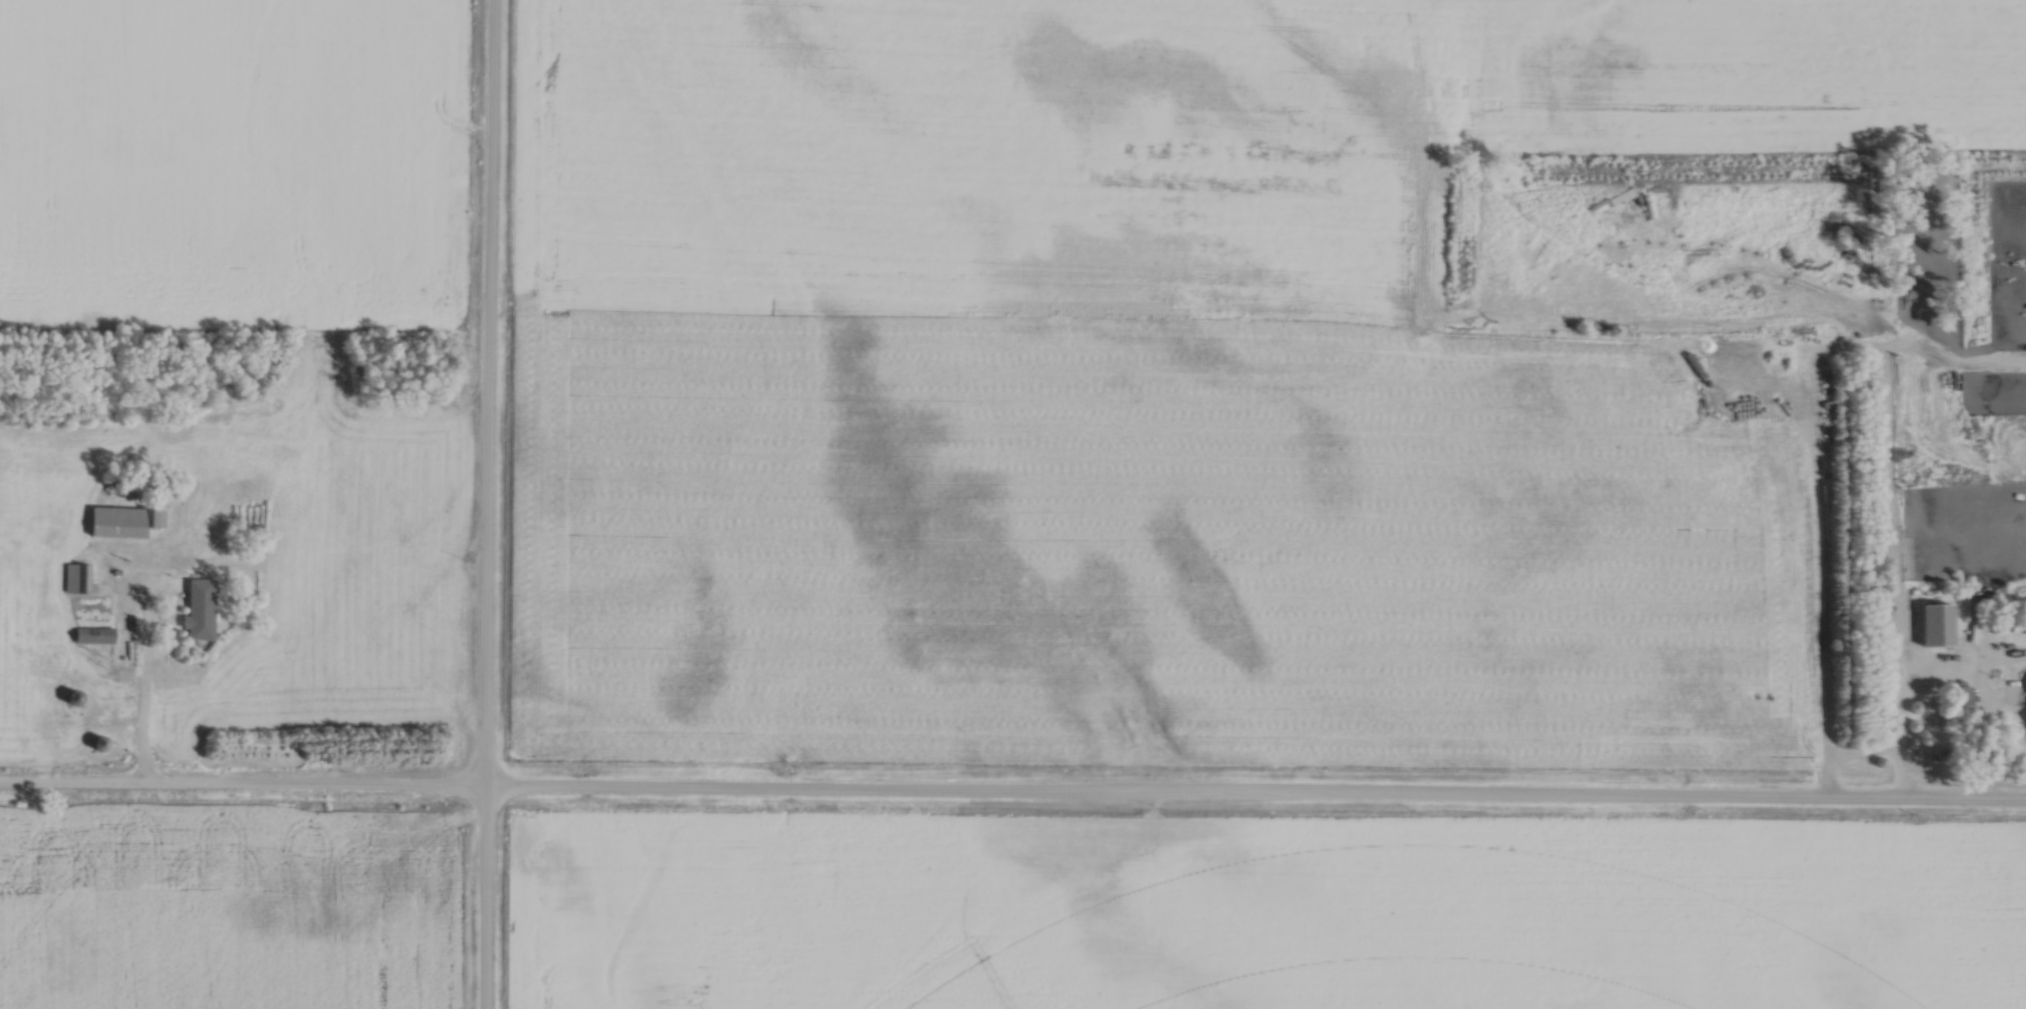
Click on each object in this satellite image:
building: (1730, 189)
building: (155, 441)
building: (62, 442)
building: (213, 495)
road: (488, 504)
building: (124, 520)
road: (1891, 572)
building: (77, 577)
building: (32, 583)
building: (197, 608)
building: (1936, 623)
building: (2018, 624)
building: (93, 634)
road: (1963, 668)
road: (146, 673)
building: (71, 697)
road: (1987, 734)
road: (1012, 793)

